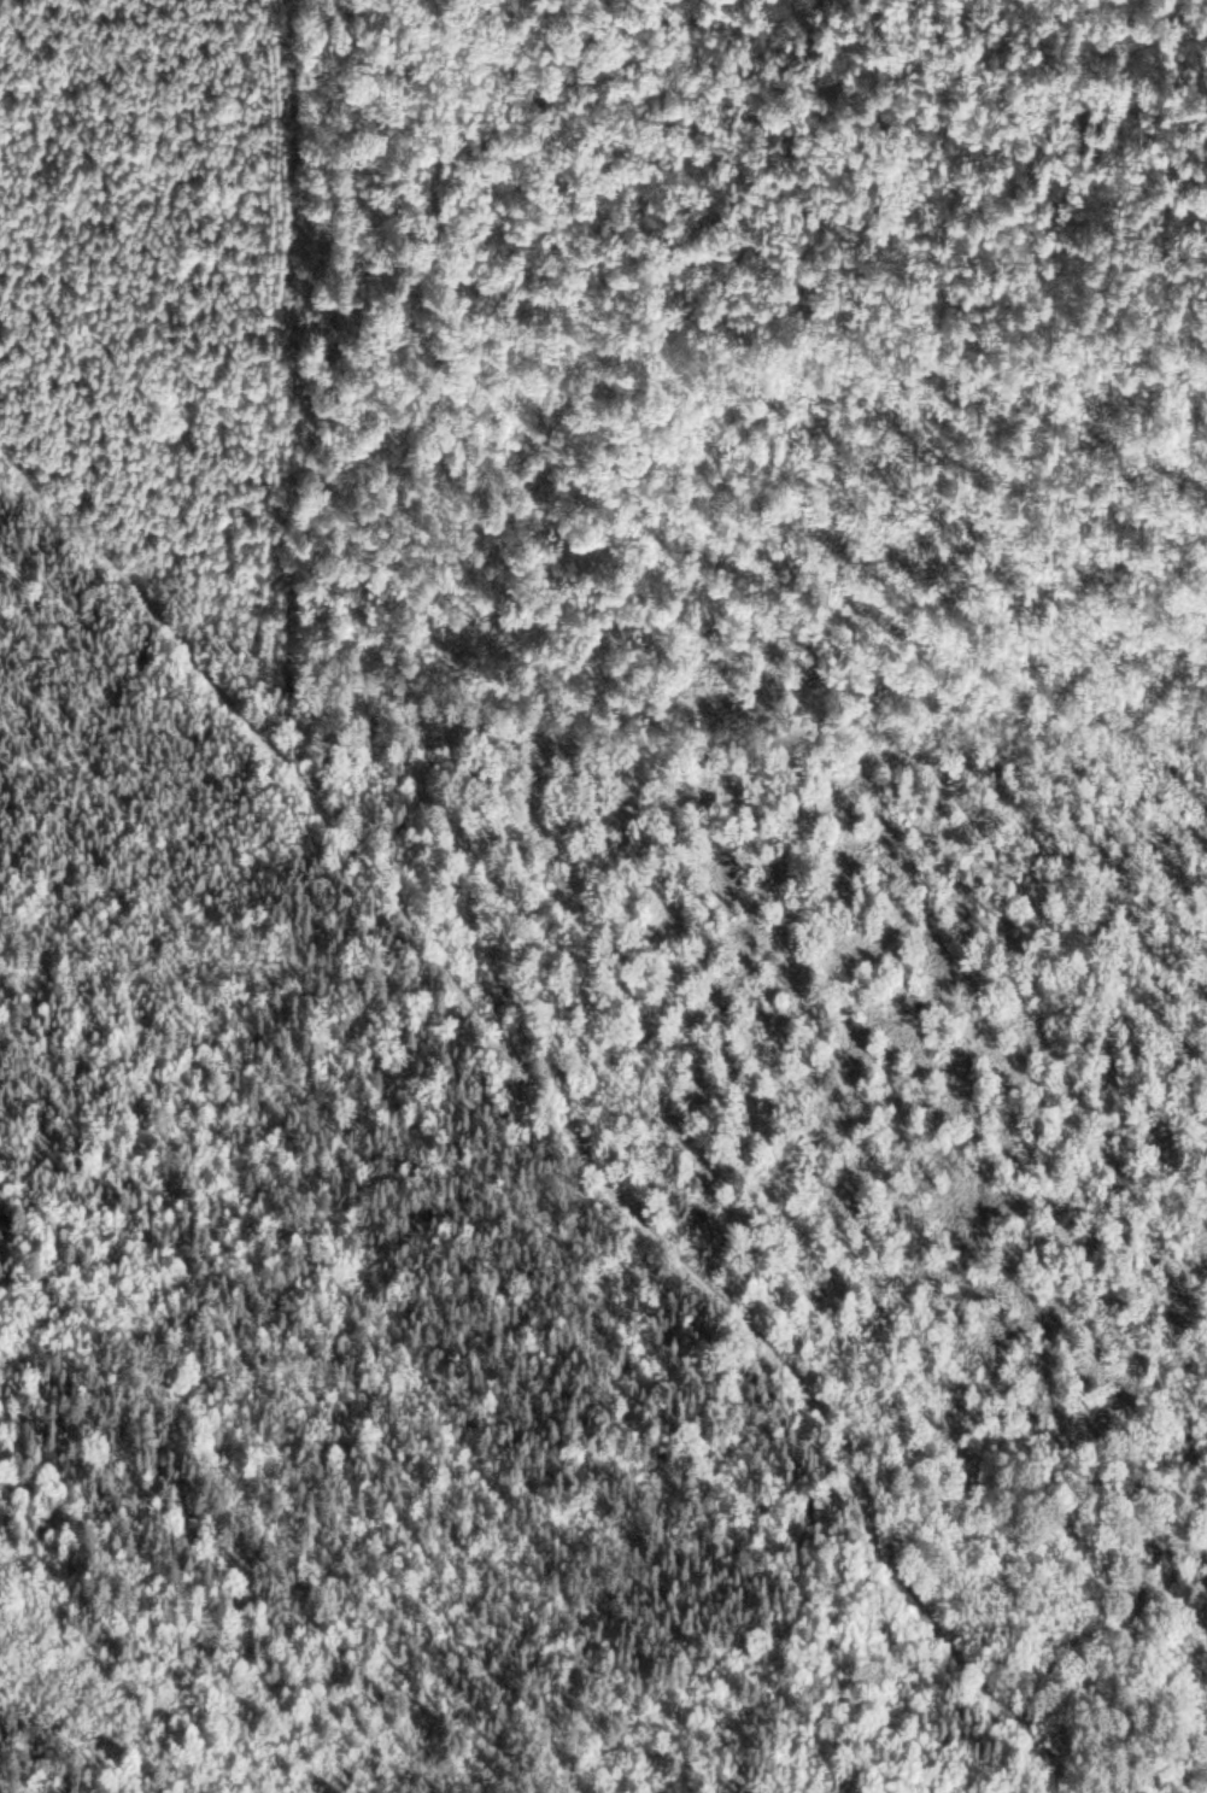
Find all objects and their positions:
road: (550, 1115)

